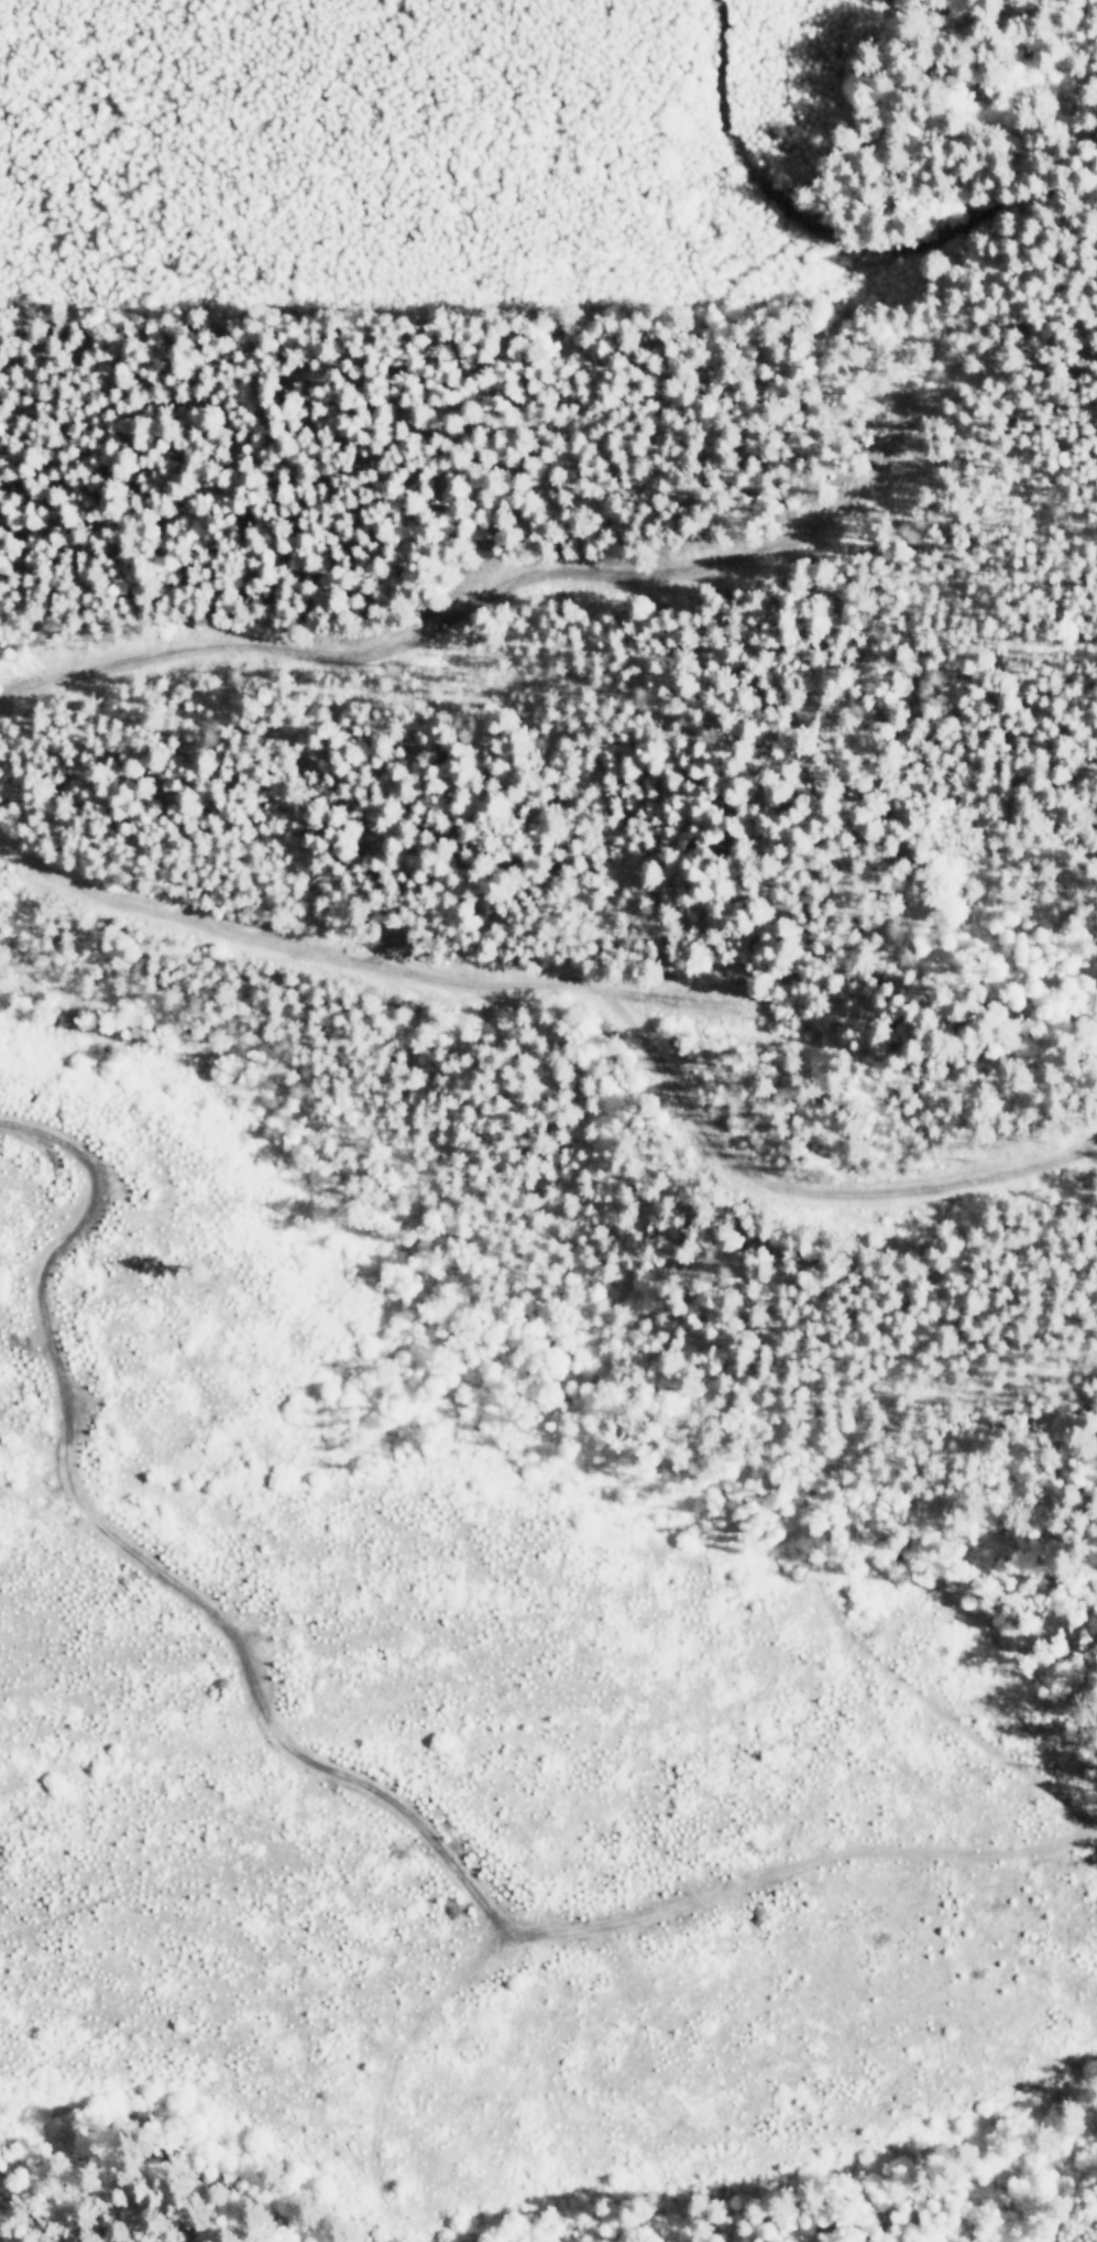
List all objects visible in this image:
road: (825, 218)
road: (639, 881)
road: (1041, 1316)
road: (815, 1581)
road: (349, 1771)
road: (1094, 1817)

